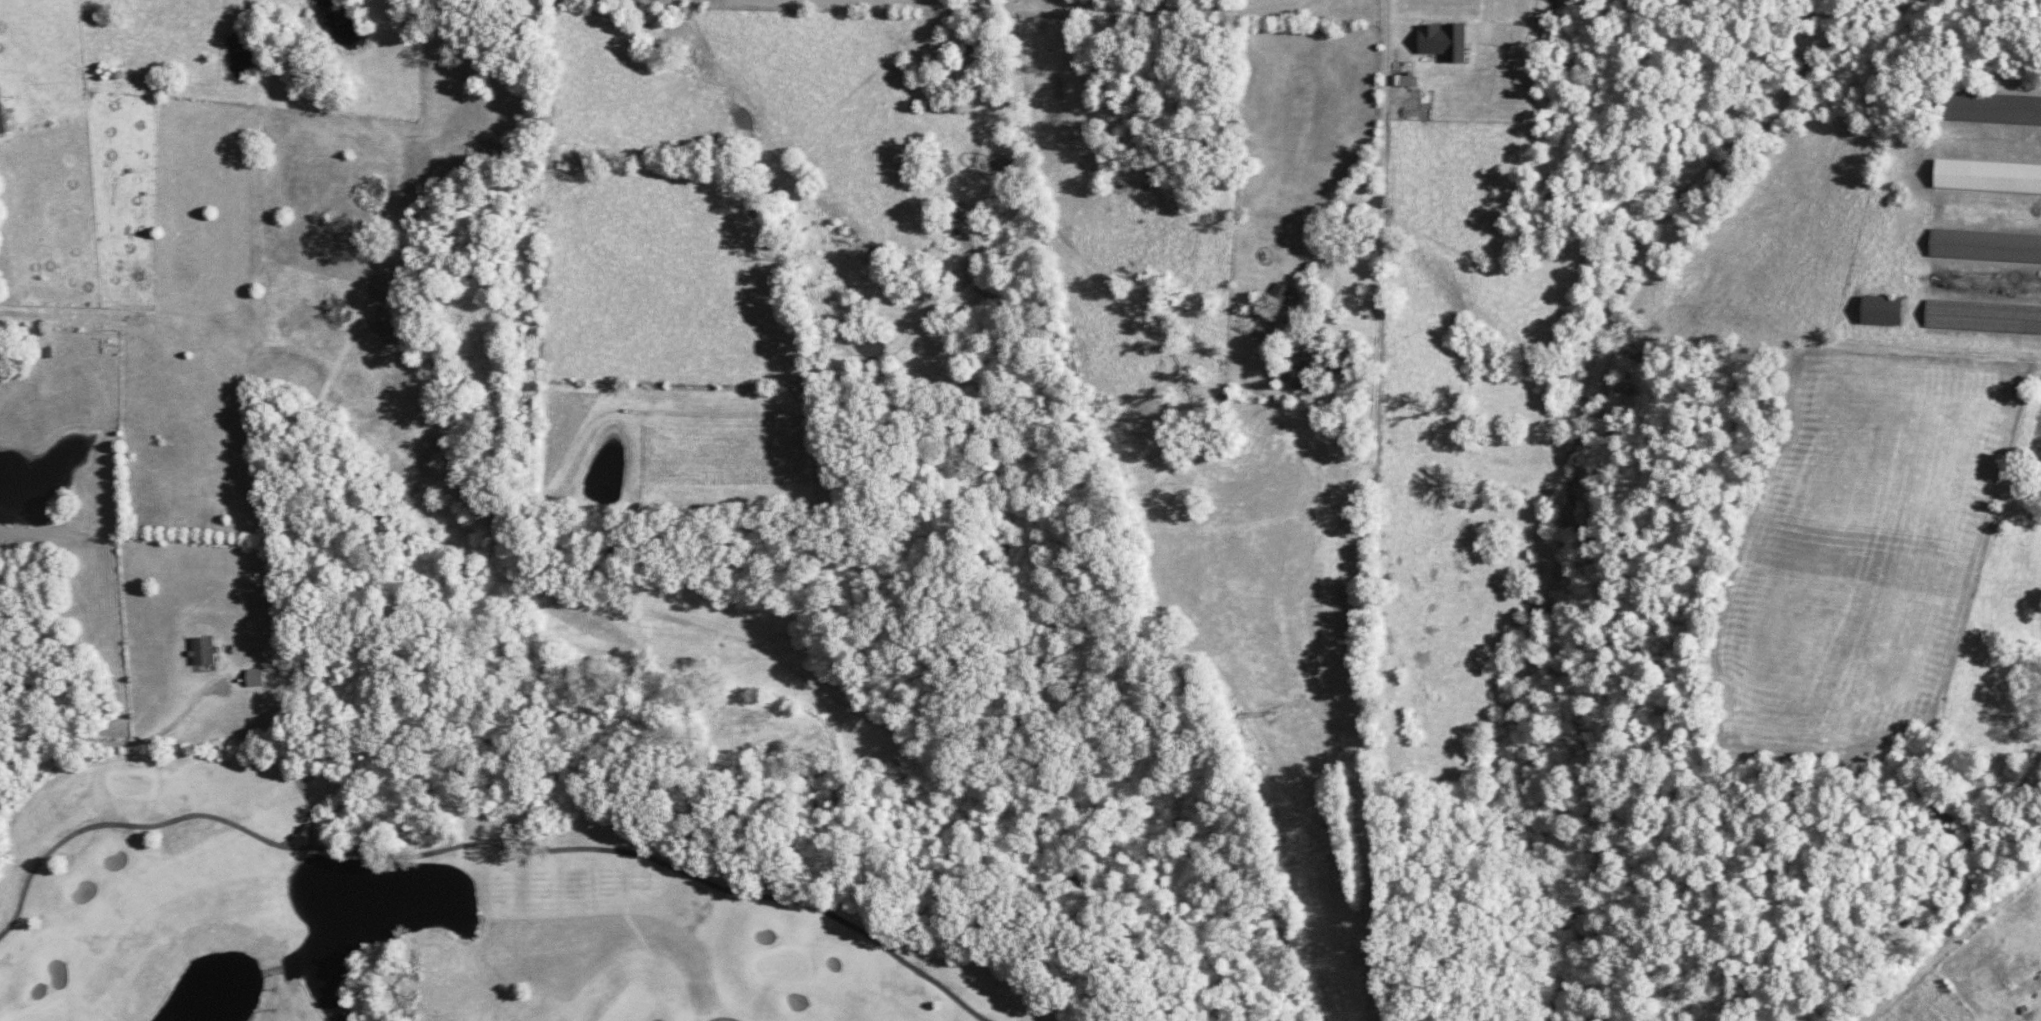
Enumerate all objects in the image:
road: (1026, 9)
building: (1443, 41)
road: (213, 91)
building: (1990, 108)
building: (1, 123)
road: (1377, 151)
building: (1987, 177)
building: (1984, 246)
building: (1284, 295)
building: (1880, 311)
building: (1982, 317)
building: (1295, 371)
building: (202, 650)
building: (254, 677)
road: (77, 741)
park: (429, 915)

